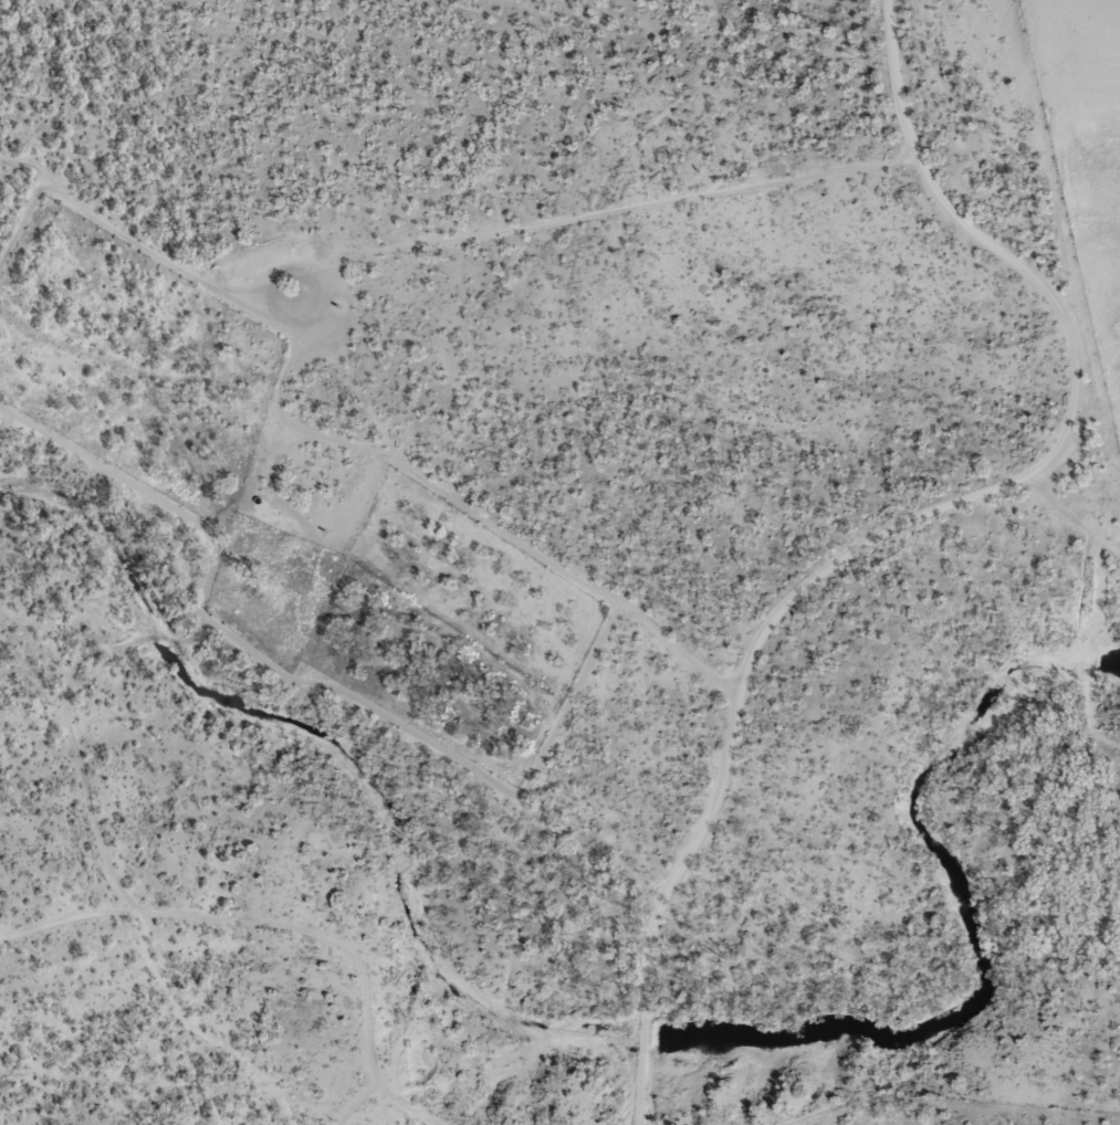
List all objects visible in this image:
road: (396, 463)
road: (900, 526)

